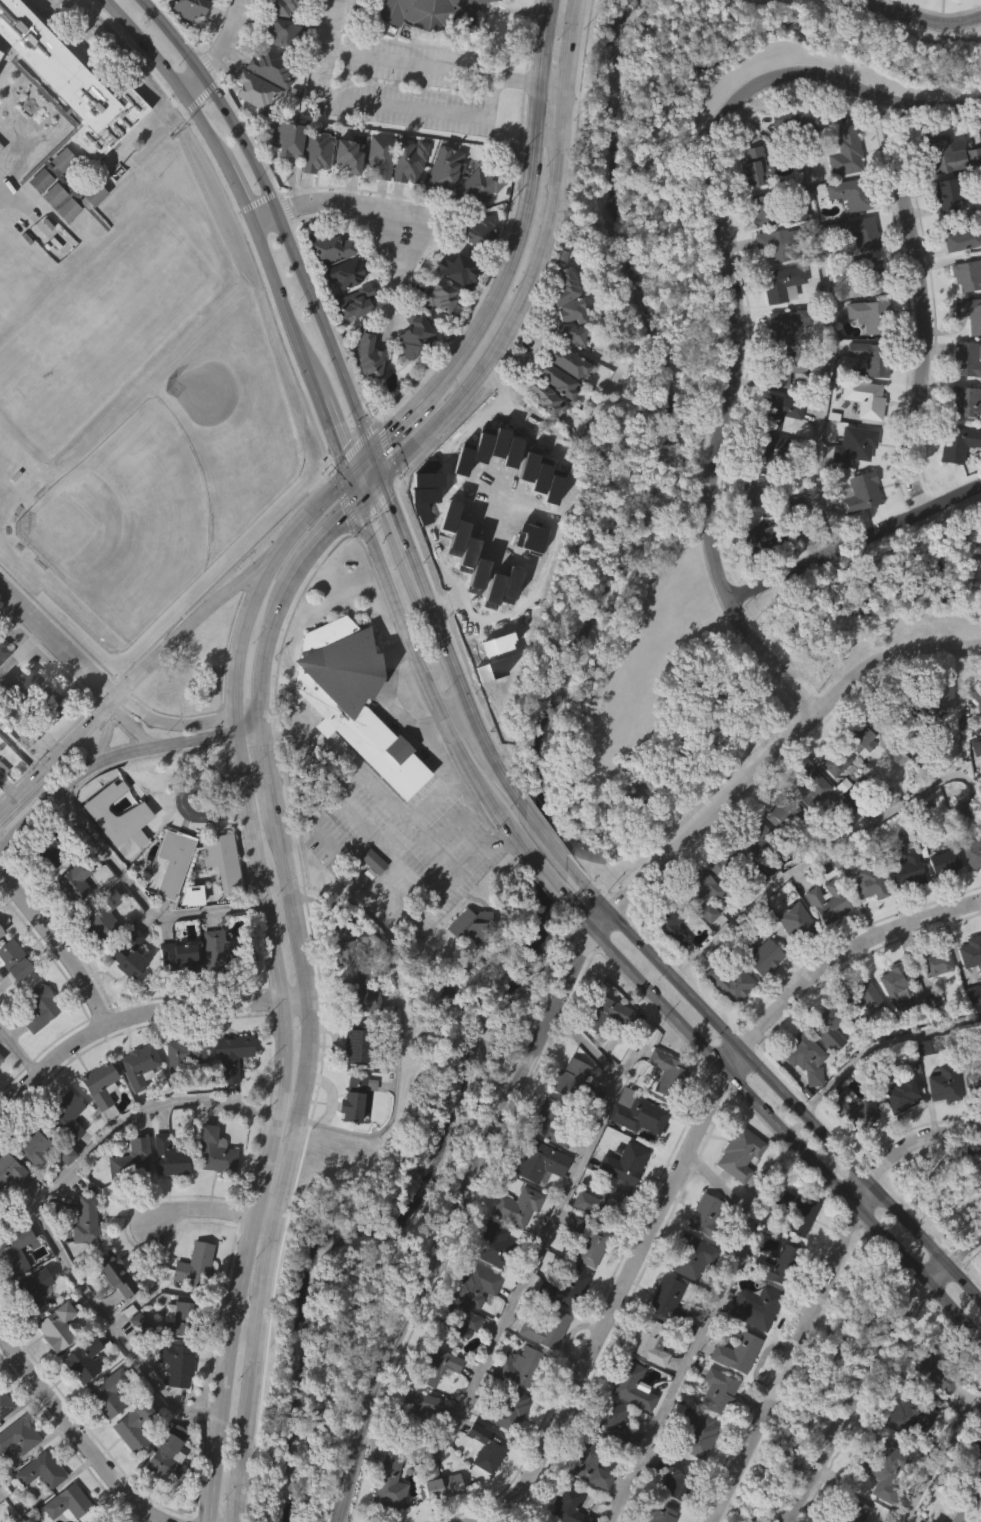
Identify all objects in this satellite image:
building: (843, 0)
building: (880, 5)
building: (974, 6)
building: (283, 7)
building: (187, 8)
building: (935, 12)
building: (432, 13)
road: (919, 15)
building: (281, 32)
road: (170, 36)
building: (185, 44)
road: (215, 52)
building: (272, 67)
road: (421, 68)
building: (70, 78)
building: (253, 89)
road: (397, 106)
building: (268, 107)
road: (979, 115)
building: (64, 118)
building: (798, 120)
building: (253, 130)
building: (287, 137)
building: (317, 151)
building: (847, 151)
building: (946, 154)
building: (381, 155)
building: (351, 156)
building: (410, 160)
building: (789, 160)
building: (442, 166)
building: (755, 167)
road: (231, 177)
building: (284, 178)
building: (480, 186)
building: (313, 190)
building: (853, 193)
building: (945, 194)
building: (377, 195)
building: (345, 196)
building: (60, 198)
building: (405, 199)
building: (441, 208)
building: (764, 209)
road: (522, 212)
road: (334, 215)
building: (37, 219)
building: (63, 223)
building: (477, 230)
building: (859, 232)
building: (92, 233)
building: (953, 234)
building: (58, 241)
building: (781, 244)
building: (328, 245)
building: (759, 249)
road: (294, 261)
road: (534, 266)
building: (949, 269)
building: (461, 271)
building: (345, 272)
building: (967, 274)
building: (868, 275)
building: (952, 281)
building: (783, 283)
building: (327, 286)
road: (733, 290)
building: (564, 294)
building: (442, 297)
building: (355, 301)
road: (920, 306)
building: (455, 310)
building: (343, 312)
road: (827, 312)
building: (971, 313)
building: (872, 316)
building: (787, 326)
building: (567, 332)
building: (436, 335)
building: (415, 336)
building: (352, 342)
building: (366, 354)
building: (873, 357)
building: (968, 359)
building: (565, 362)
building: (784, 368)
building: (566, 373)
building: (410, 375)
building: (556, 380)
building: (364, 393)
building: (541, 397)
building: (863, 397)
building: (966, 401)
building: (566, 402)
building: (776, 412)
road: (517, 415)
building: (554, 419)
road: (468, 425)
road: (397, 428)
road: (333, 430)
building: (541, 438)
building: (856, 444)
building: (960, 444)
building: (769, 449)
road: (360, 466)
road: (374, 469)
building: (956, 482)
building: (766, 488)
road: (353, 492)
building: (753, 492)
building: (861, 493)
road: (367, 495)
road: (306, 516)
park: (125, 520)
road: (330, 528)
building: (856, 532)
road: (853, 541)
building: (791, 542)
building: (762, 543)
road: (411, 566)
building: (751, 579)
road: (186, 625)
road: (402, 629)
road: (267, 637)
road: (56, 639)
building: (4, 649)
building: (21, 682)
building: (3, 689)
building: (976, 691)
road: (461, 695)
building: (942, 696)
building: (355, 698)
building: (902, 709)
building: (45, 710)
road: (401, 710)
building: (18, 720)
road: (180, 723)
road: (129, 724)
building: (974, 729)
road: (104, 732)
building: (863, 735)
building: (936, 735)
building: (350, 739)
building: (47, 742)
road: (486, 746)
road: (20, 750)
road: (777, 750)
building: (916, 750)
road: (54, 756)
road: (115, 756)
road: (262, 756)
building: (841, 758)
building: (3, 769)
road: (448, 776)
building: (860, 777)
building: (811, 786)
building: (974, 787)
road: (480, 788)
building: (892, 792)
building: (833, 800)
road: (390, 801)
building: (1, 810)
building: (783, 810)
road: (532, 824)
building: (805, 826)
road: (451, 829)
building: (757, 837)
building: (49, 850)
road: (382, 850)
building: (960, 850)
building: (778, 852)
building: (972, 852)
road: (816, 854)
building: (947, 862)
building: (373, 863)
building: (726, 864)
building: (906, 865)
road: (536, 871)
road: (356, 875)
building: (752, 875)
building: (870, 882)
building: (73, 885)
building: (47, 891)
building: (970, 891)
building: (703, 894)
road: (137, 895)
building: (219, 900)
building: (369, 900)
building: (170, 901)
building: (826, 902)
building: (940, 902)
road: (594, 903)
building: (761, 909)
building: (903, 909)
building: (102, 915)
building: (71, 920)
building: (863, 920)
building: (673, 922)
building: (796, 923)
road: (578, 924)
road: (596, 925)
building: (473, 926)
building: (2, 930)
building: (699, 932)
building: (190, 934)
building: (823, 940)
building: (346, 941)
road: (58, 946)
building: (126, 951)
building: (972, 951)
building: (223, 952)
building: (180, 956)
building: (763, 956)
building: (15, 960)
building: (791, 960)
building: (933, 961)
building: (97, 962)
building: (469, 963)
building: (666, 966)
building: (0, 971)
building: (340, 981)
building: (732, 982)
building: (894, 982)
building: (213, 988)
building: (968, 990)
building: (126, 993)
building: (176, 995)
building: (757, 995)
building: (359, 996)
building: (865, 996)
building: (12, 999)
building: (932, 1001)
building: (40, 1008)
building: (607, 1015)
road: (136, 1018)
building: (726, 1022)
building: (830, 1026)
building: (968, 1033)
building: (861, 1035)
road: (279, 1039)
building: (930, 1040)
road: (879, 1043)
building: (360, 1046)
building: (35, 1047)
road: (20, 1048)
building: (232, 1054)
building: (605, 1054)
building: (184, 1055)
building: (807, 1057)
building: (1, 1059)
building: (140, 1066)
building: (824, 1067)
building: (669, 1073)
building: (972, 1082)
building: (943, 1083)
building: (101, 1084)
building: (577, 1084)
building: (182, 1091)
building: (228, 1093)
building: (900, 1094)
building: (800, 1095)
building: (353, 1097)
building: (0, 1098)
building: (135, 1105)
road: (794, 1106)
building: (664, 1112)
building: (854, 1114)
building: (66, 1115)
building: (641, 1115)
building: (566, 1117)
building: (552, 1122)
building: (940, 1122)
building: (970, 1122)
building: (97, 1123)
road: (384, 1127)
building: (587, 1130)
building: (897, 1134)
building: (349, 1138)
road: (786, 1139)
building: (34, 1147)
road: (286, 1151)
building: (217, 1153)
building: (742, 1153)
building: (852, 1153)
building: (63, 1155)
building: (170, 1156)
building: (539, 1160)
building: (132, 1162)
building: (626, 1163)
road: (680, 1165)
building: (13, 1171)
park: (393, 1182)
building: (31, 1185)
building: (211, 1191)
building: (63, 1193)
building: (736, 1193)
building: (166, 1195)
building: (128, 1198)
building: (604, 1203)
building: (518, 1205)
building: (11, 1209)
building: (800, 1211)
road: (198, 1213)
road: (43, 1214)
building: (709, 1218)
building: (86, 1220)
road: (259, 1221)
road: (448, 1222)
building: (590, 1241)
building: (600, 1241)
building: (513, 1245)
building: (493, 1246)
building: (793, 1249)
building: (15, 1253)
road: (530, 1253)
building: (691, 1256)
building: (83, 1258)
building: (572, 1263)
building: (196, 1264)
building: (777, 1265)
building: (115, 1274)
building: (477, 1285)
building: (588, 1285)
building: (567, 1288)
building: (12, 1290)
building: (33, 1291)
building: (689, 1295)
road: (815, 1297)
building: (667, 1299)
building: (191, 1303)
building: (758, 1307)
building: (112, 1311)
building: (182, 1320)
building: (453, 1324)
building: (472, 1324)
building: (562, 1327)
building: (58, 1328)
building: (29, 1329)
building: (547, 1329)
road: (699, 1329)
building: (664, 1338)
building: (650, 1342)
building: (739, 1352)
building: (85, 1359)
building: (135, 1360)
building: (941, 1363)
building: (178, 1364)
building: (53, 1365)
building: (436, 1365)
road: (869, 1367)
building: (526, 1368)
building: (542, 1368)
building: (645, 1380)
building: (632, 1385)
building: (734, 1391)
building: (106, 1392)
building: (720, 1392)
building: (80, 1398)
building: (173, 1401)
building: (5, 1403)
building: (504, 1408)
building: (420, 1410)
building: (911, 1410)
building: (933, 1411)
building: (629, 1425)
building: (134, 1427)
building: (614, 1427)
building: (694, 1429)
building: (714, 1430)
building: (19, 1435)
building: (104, 1436)
road: (80, 1438)
building: (419, 1445)
building: (488, 1446)
building: (505, 1450)
building: (168, 1454)
building: (906, 1456)
building: (608, 1460)
road: (941, 1462)
building: (592, 1464)
building: (130, 1465)
building: (886, 1467)
building: (41, 1469)
building: (694, 1471)
building: (16, 1474)
building: (970, 1474)
building: (678, 1476)
building: (440, 1480)
building: (391, 1481)
building: (483, 1486)
building: (165, 1492)
building: (881, 1500)
building: (68, 1501)
road: (14, 1503)
building: (585, 1503)
building: (571, 1505)
building: (386, 1506)
building: (37, 1508)
building: (655, 1510)
building: (851, 1512)
building: (959, 1517)
building: (441, 1518)
building: (98, 1519)
building: (70, 1521)
building: (108, 1521)
building: (535, 1521)
building: (560, 1521)
building: (930, 1521)

